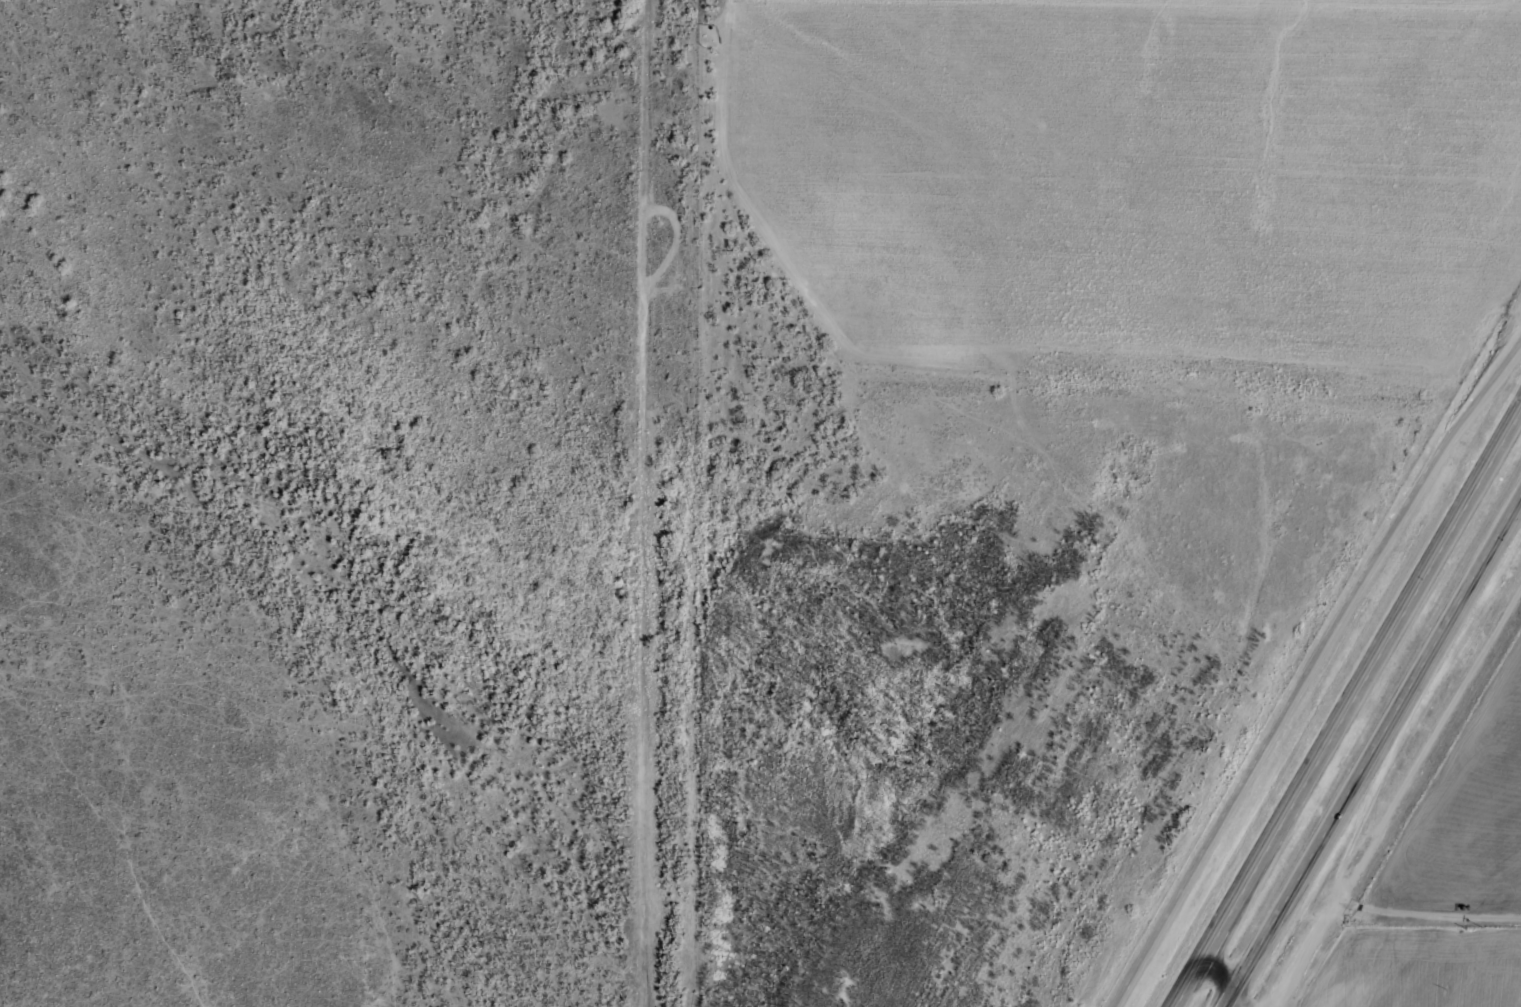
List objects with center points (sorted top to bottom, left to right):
road: (613, 501)
road: (1351, 710)
road: (1377, 752)
road: (1402, 793)
road: (1427, 915)

